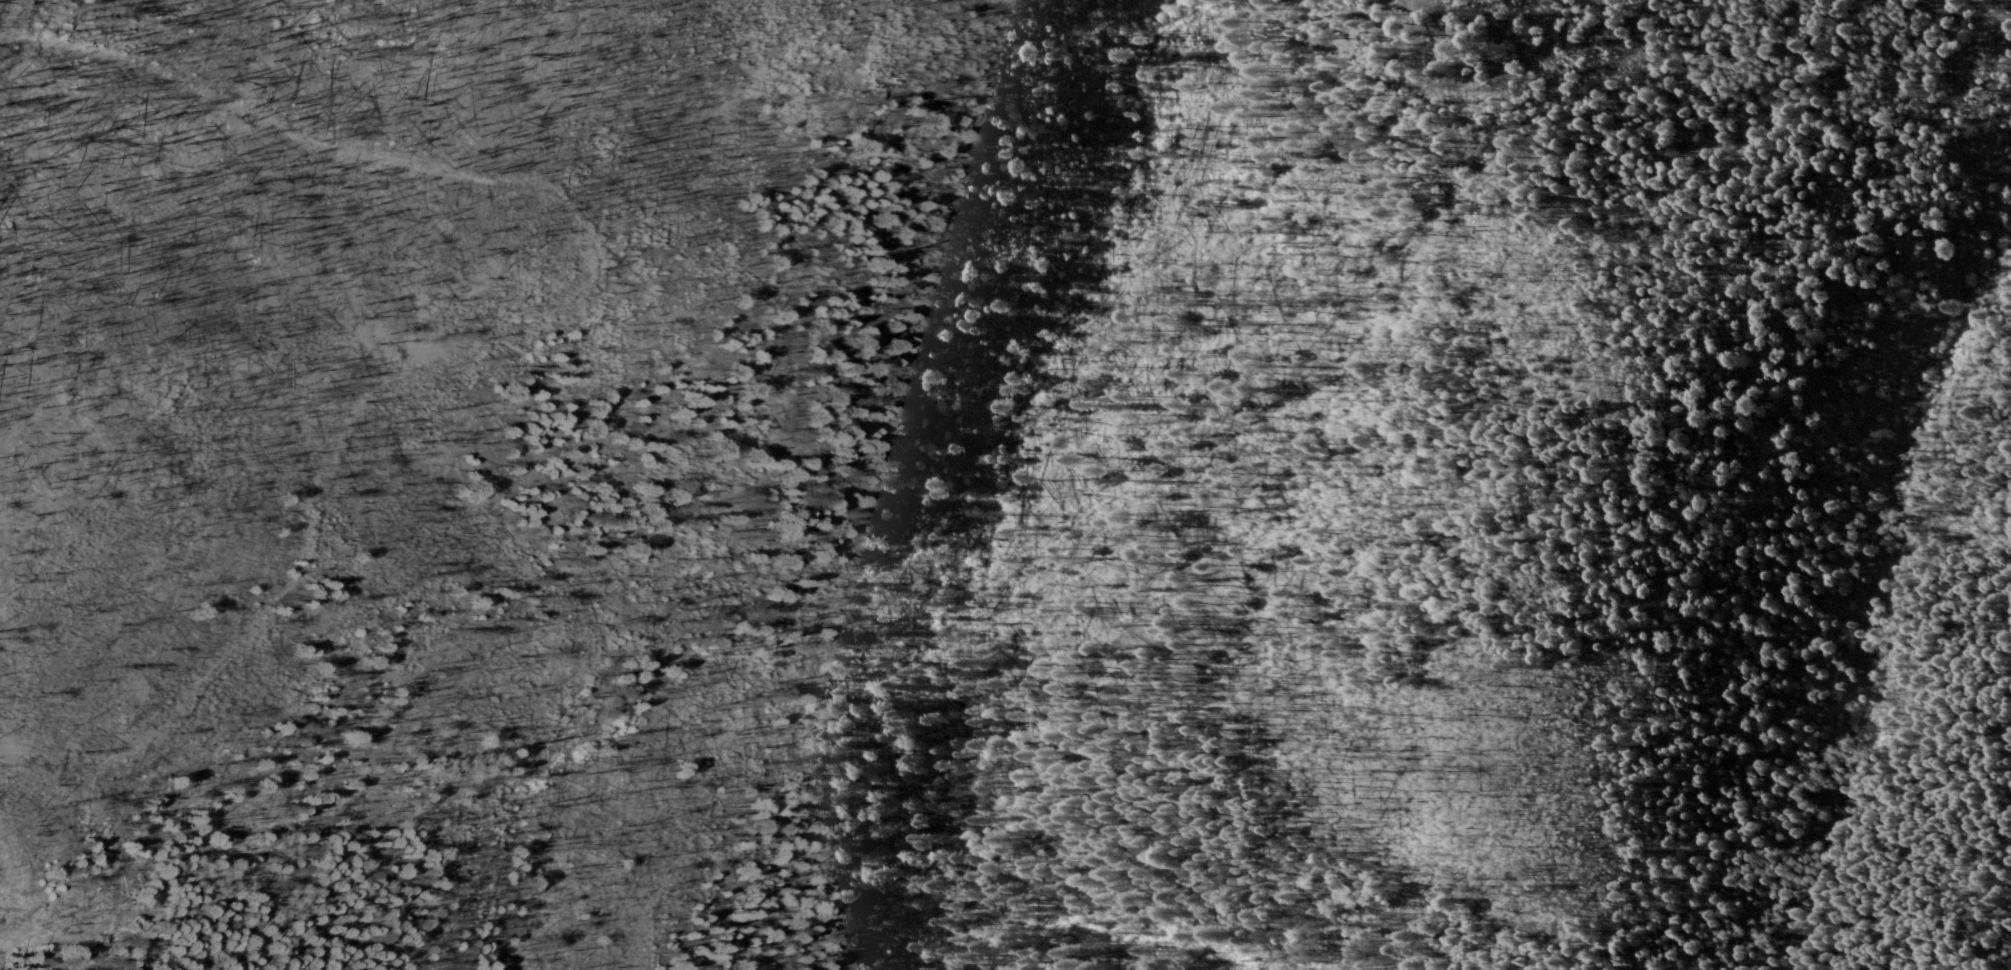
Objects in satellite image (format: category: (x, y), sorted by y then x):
road: (517, 386)
road: (1592, 473)

